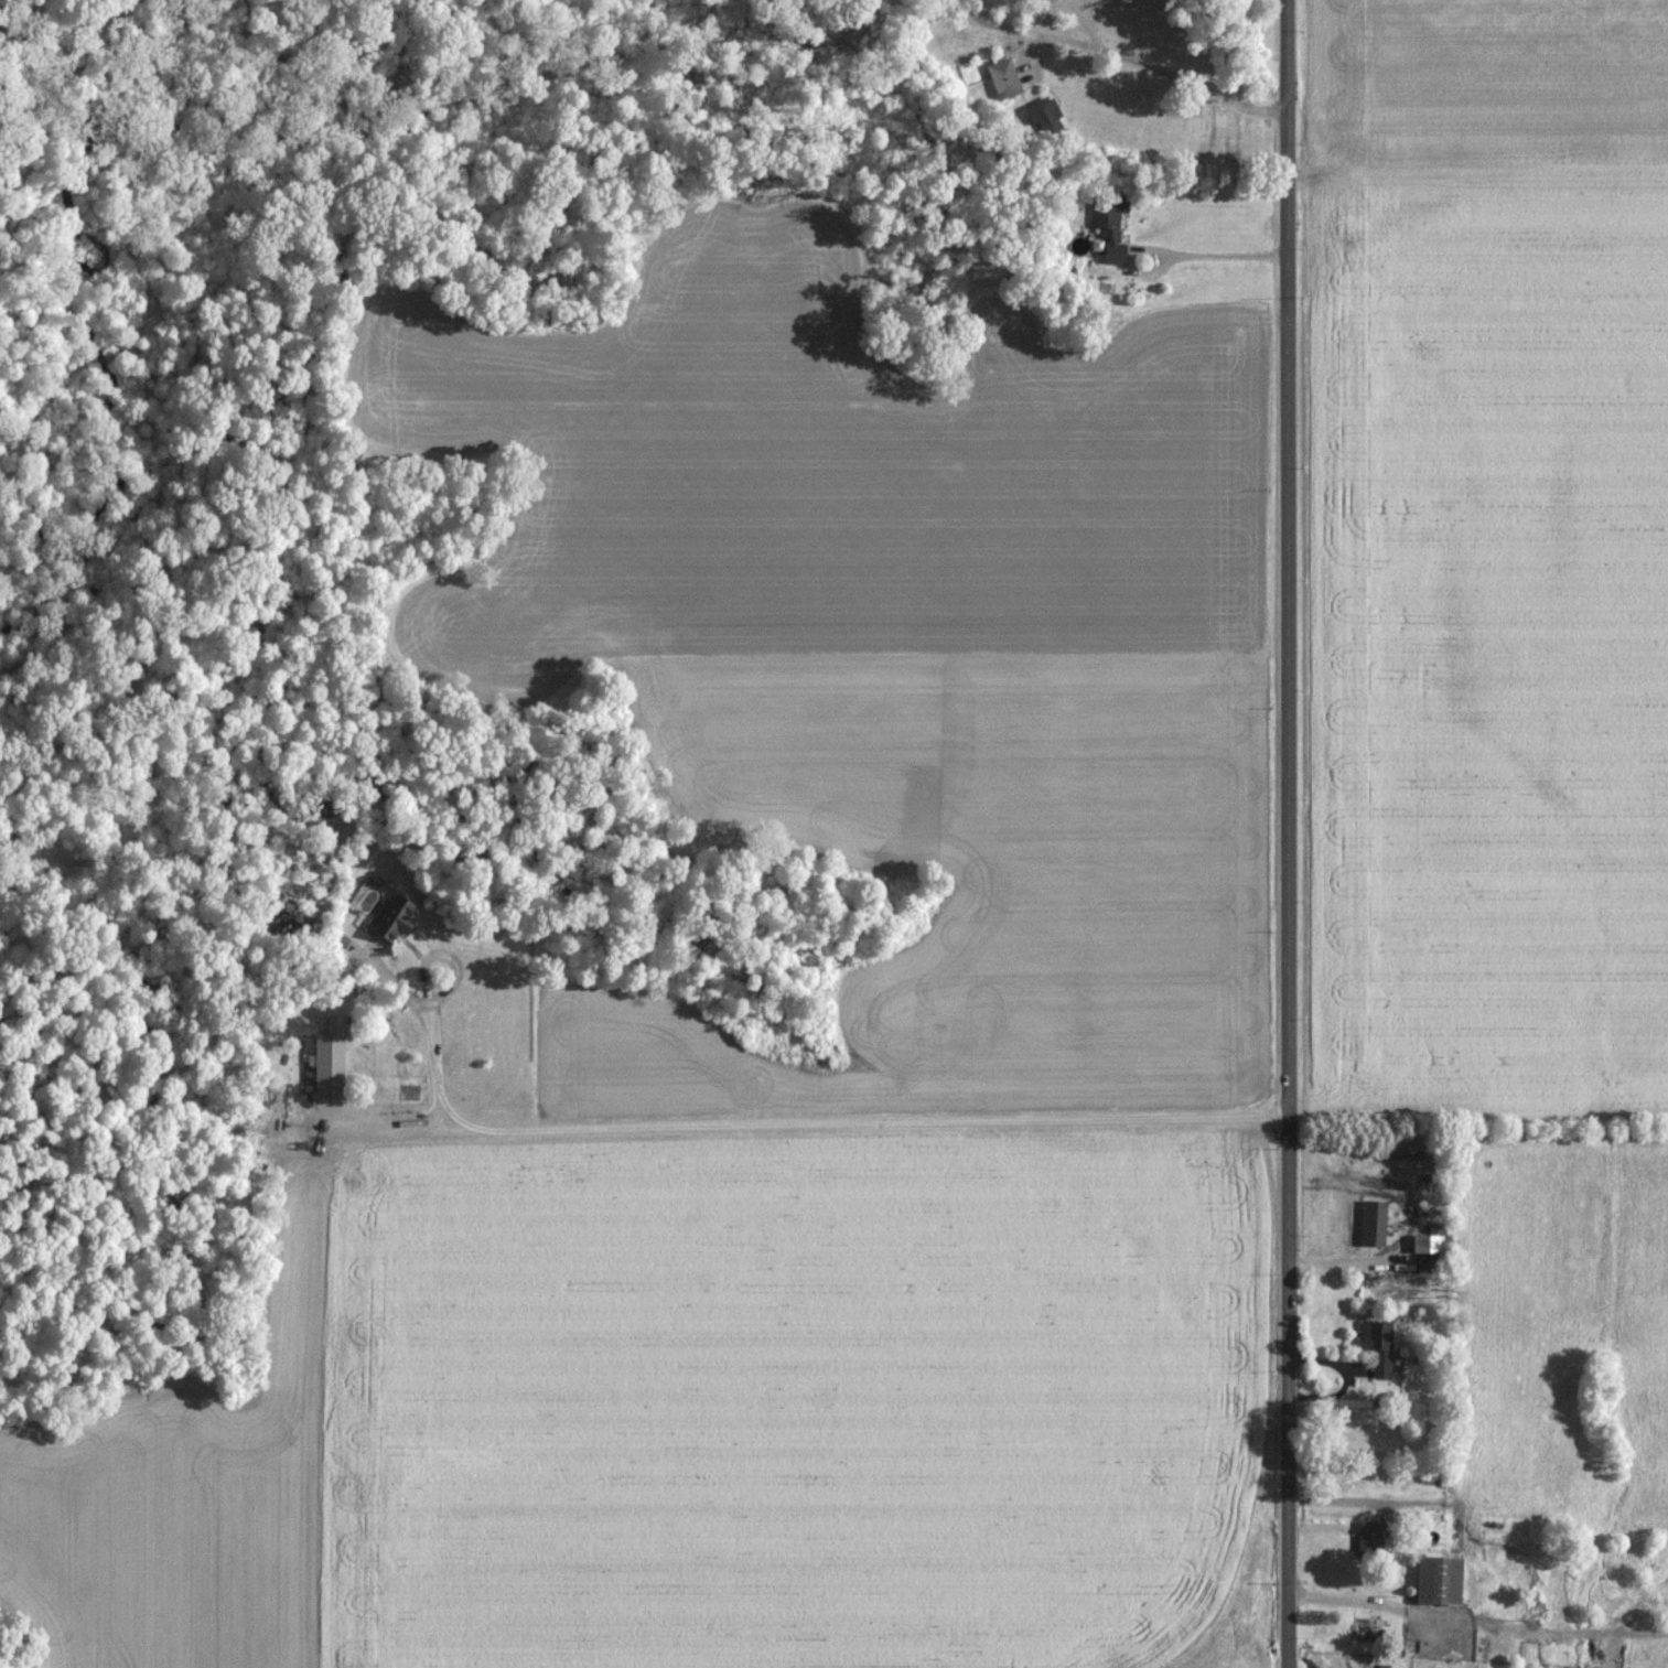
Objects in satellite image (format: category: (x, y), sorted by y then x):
road: (1156, 65)
building: (1001, 77)
building: (1044, 117)
building: (1105, 228)
road: (1174, 248)
road: (1290, 833)
building: (389, 918)
building: (323, 1063)
road: (825, 1123)
building: (1370, 1223)
building: (1418, 1244)
building: (1376, 1345)
building: (1367, 1534)
building: (1435, 1578)
road: (1478, 1621)

